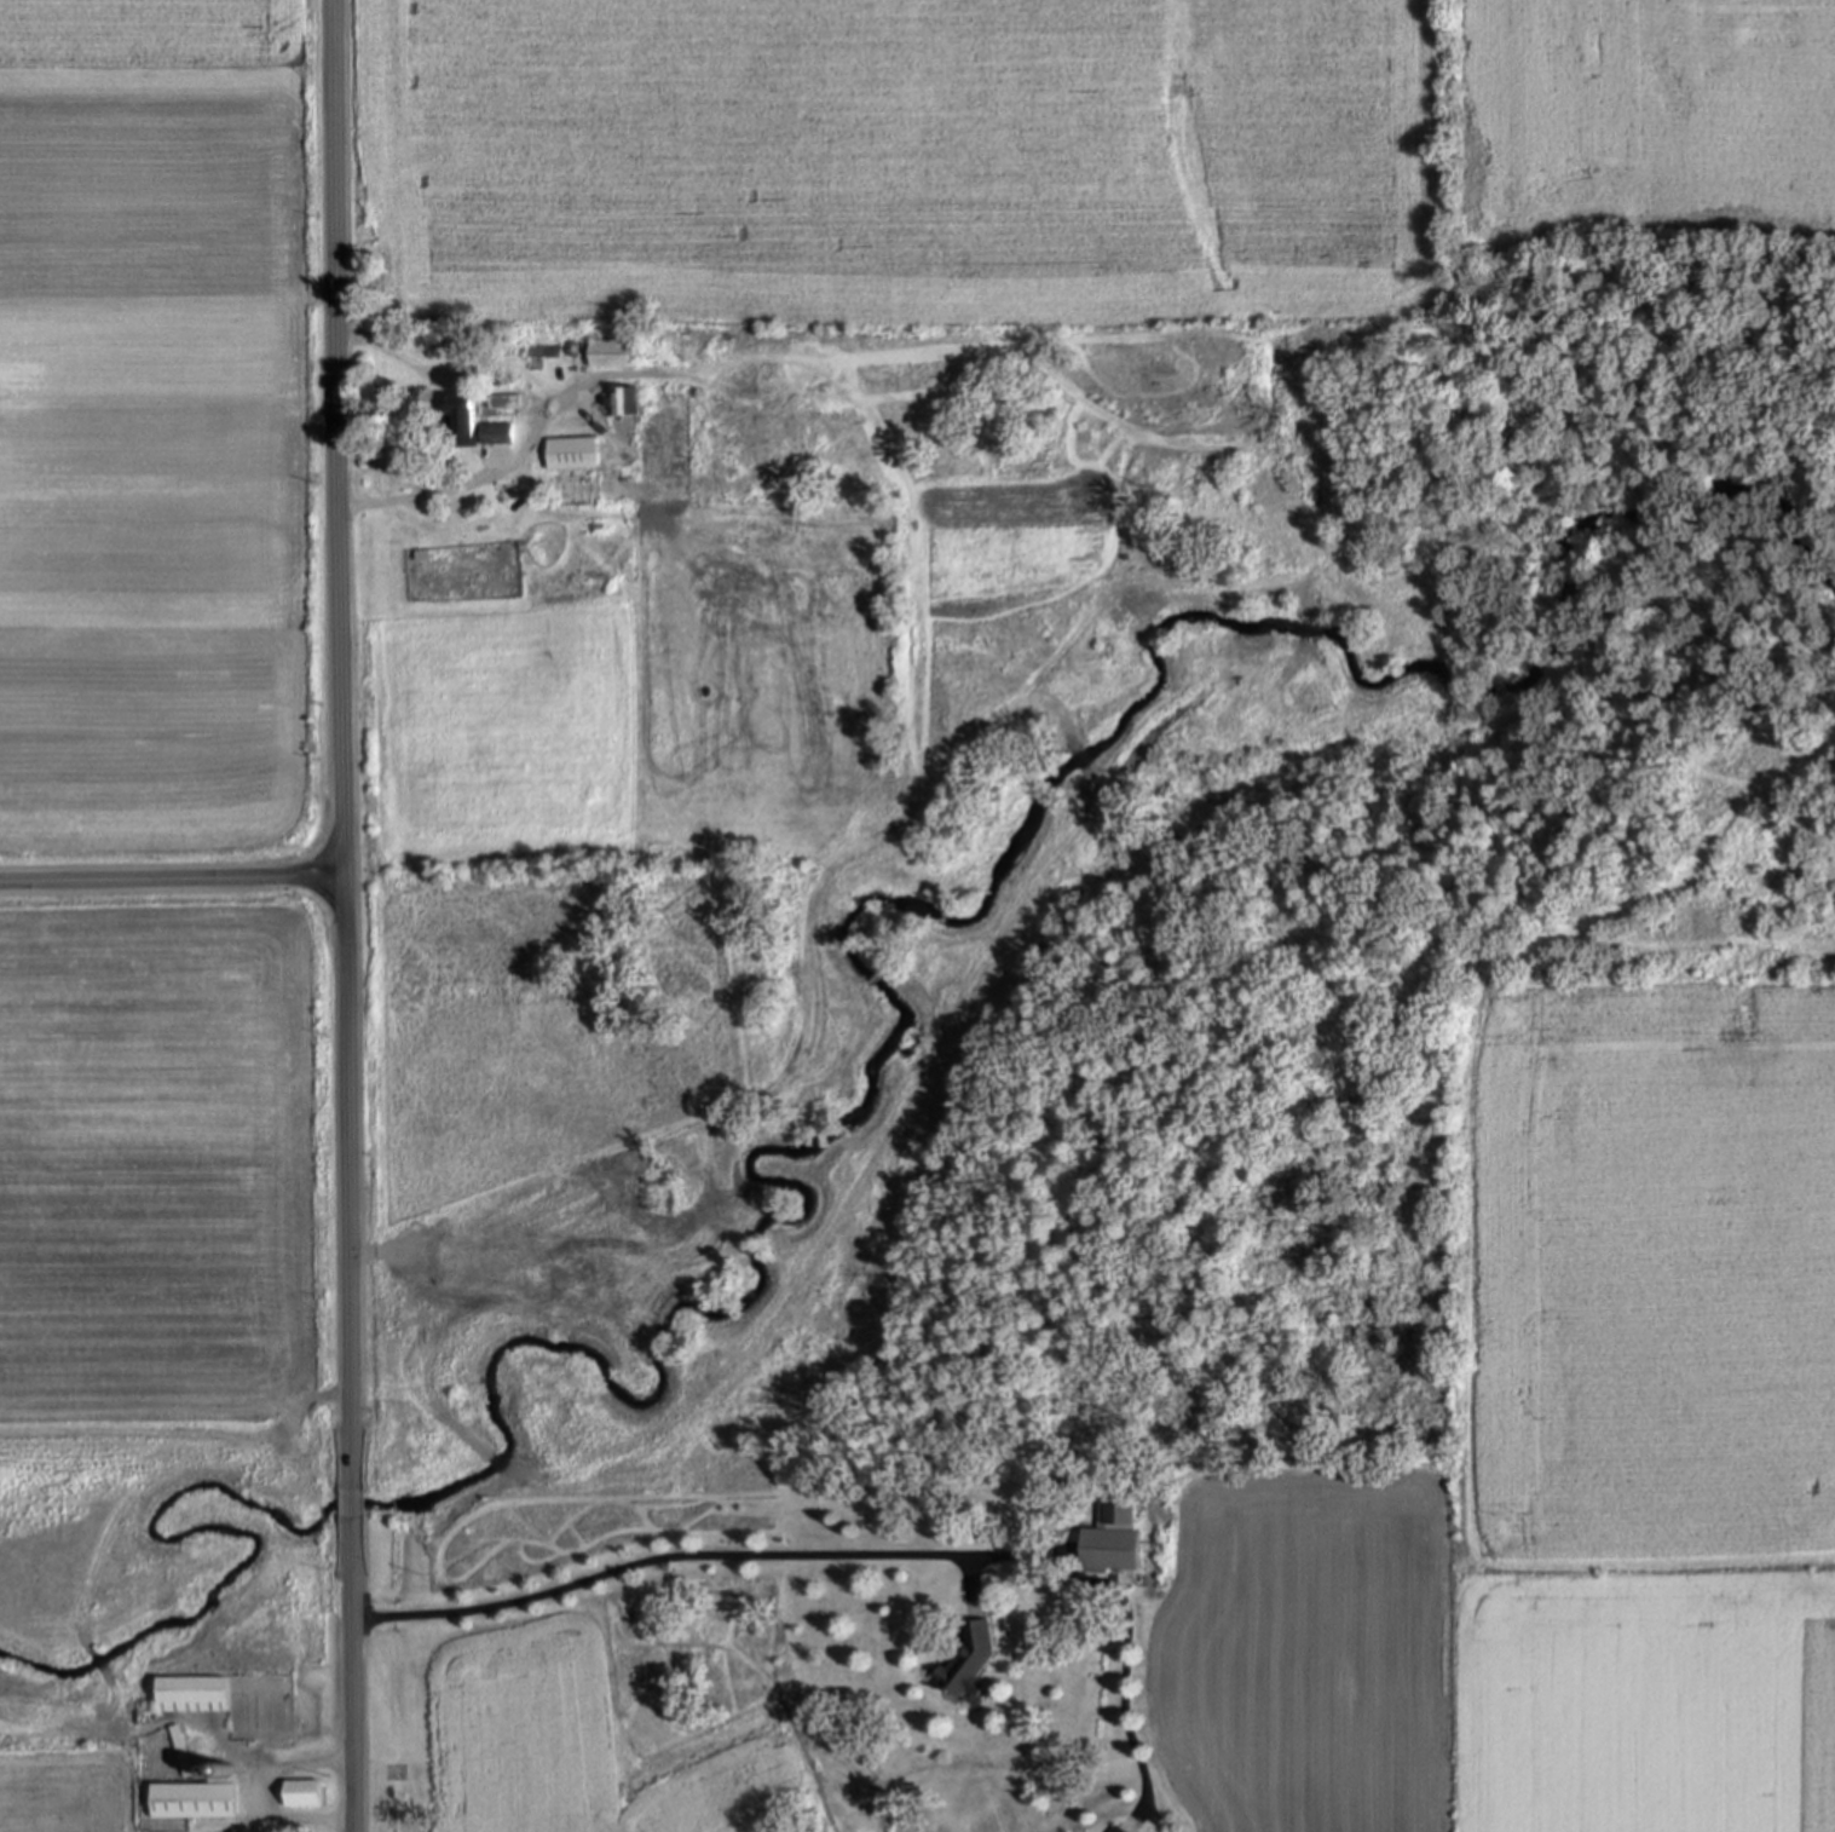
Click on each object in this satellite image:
building: (613, 353)
road: (588, 381)
building: (625, 402)
road: (588, 417)
building: (462, 420)
road: (535, 425)
building: (625, 427)
building: (500, 433)
building: (575, 453)
road: (173, 876)
road: (346, 915)
building: (1114, 1531)
road: (852, 1555)
road: (969, 1583)
building: (973, 1658)
building: (195, 1693)
road: (287, 1765)
building: (305, 1793)
building: (196, 1801)
road: (292, 1816)
building: (1120, 1830)

